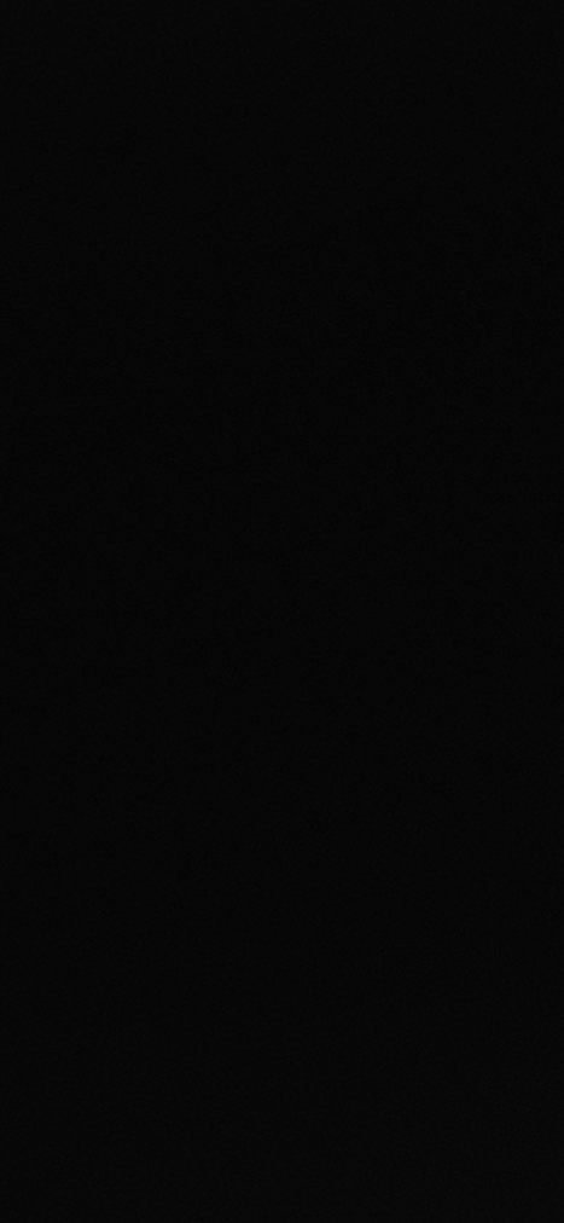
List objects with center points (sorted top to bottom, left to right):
river: (281, 660)

